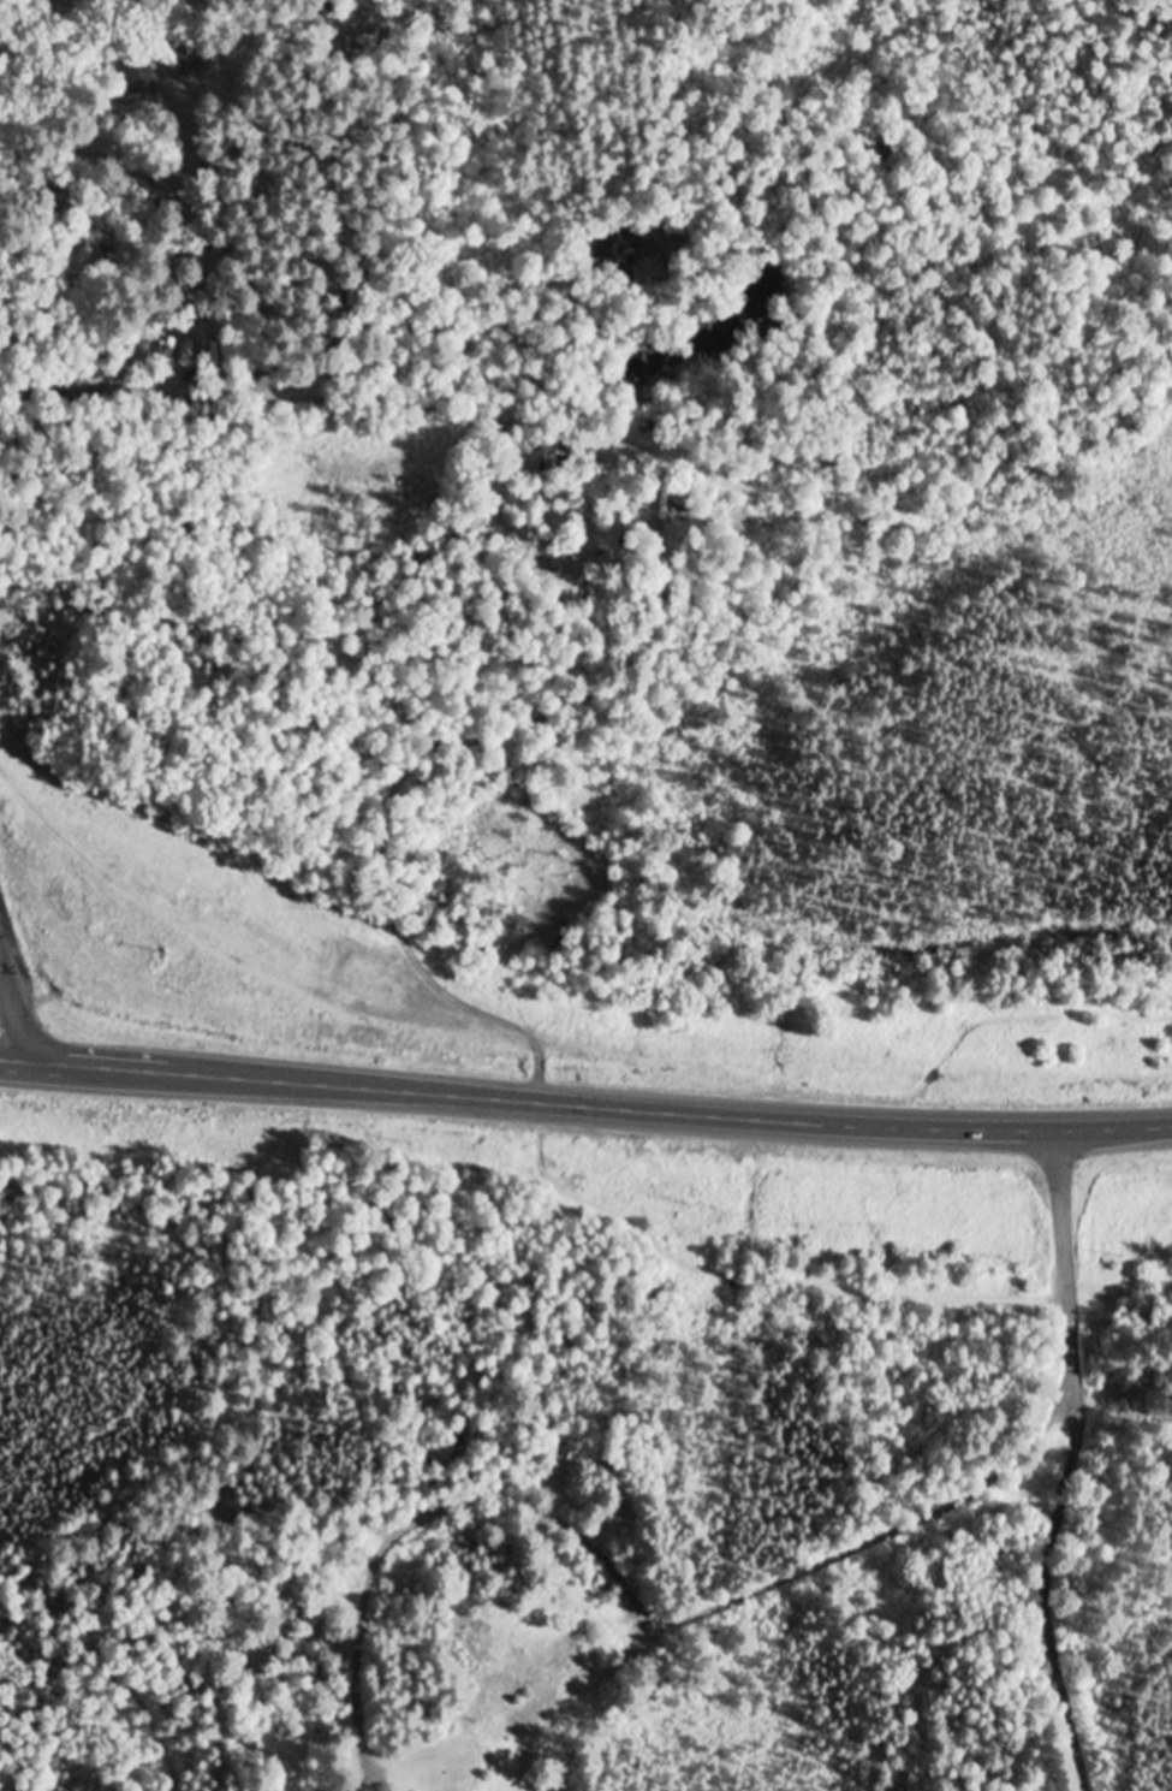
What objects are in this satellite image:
road: (154, 31)
building: (136, 67)
road: (203, 396)
road: (10, 1013)
road: (10, 1062)
road: (595, 1105)
road: (1070, 1465)
road: (635, 1601)
building: (565, 1656)

